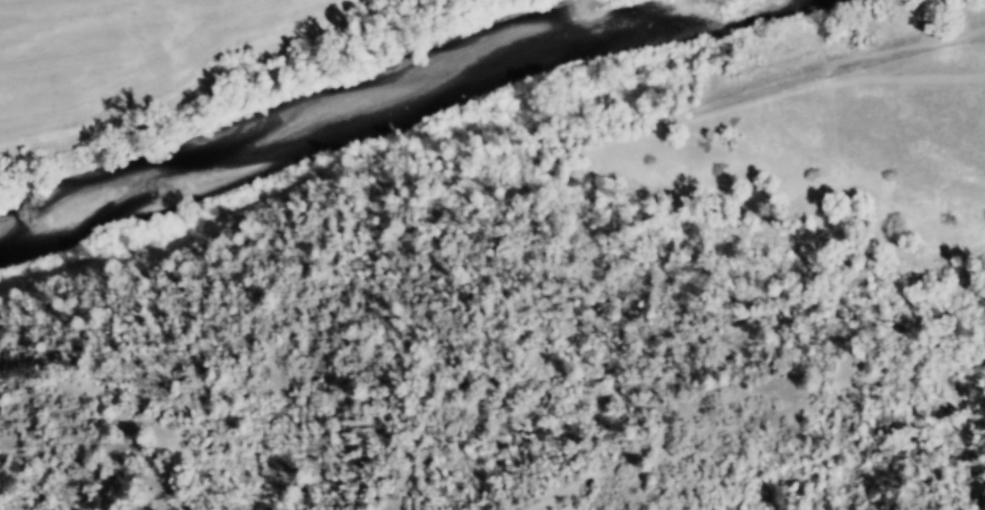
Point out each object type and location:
river: (378, 97)

